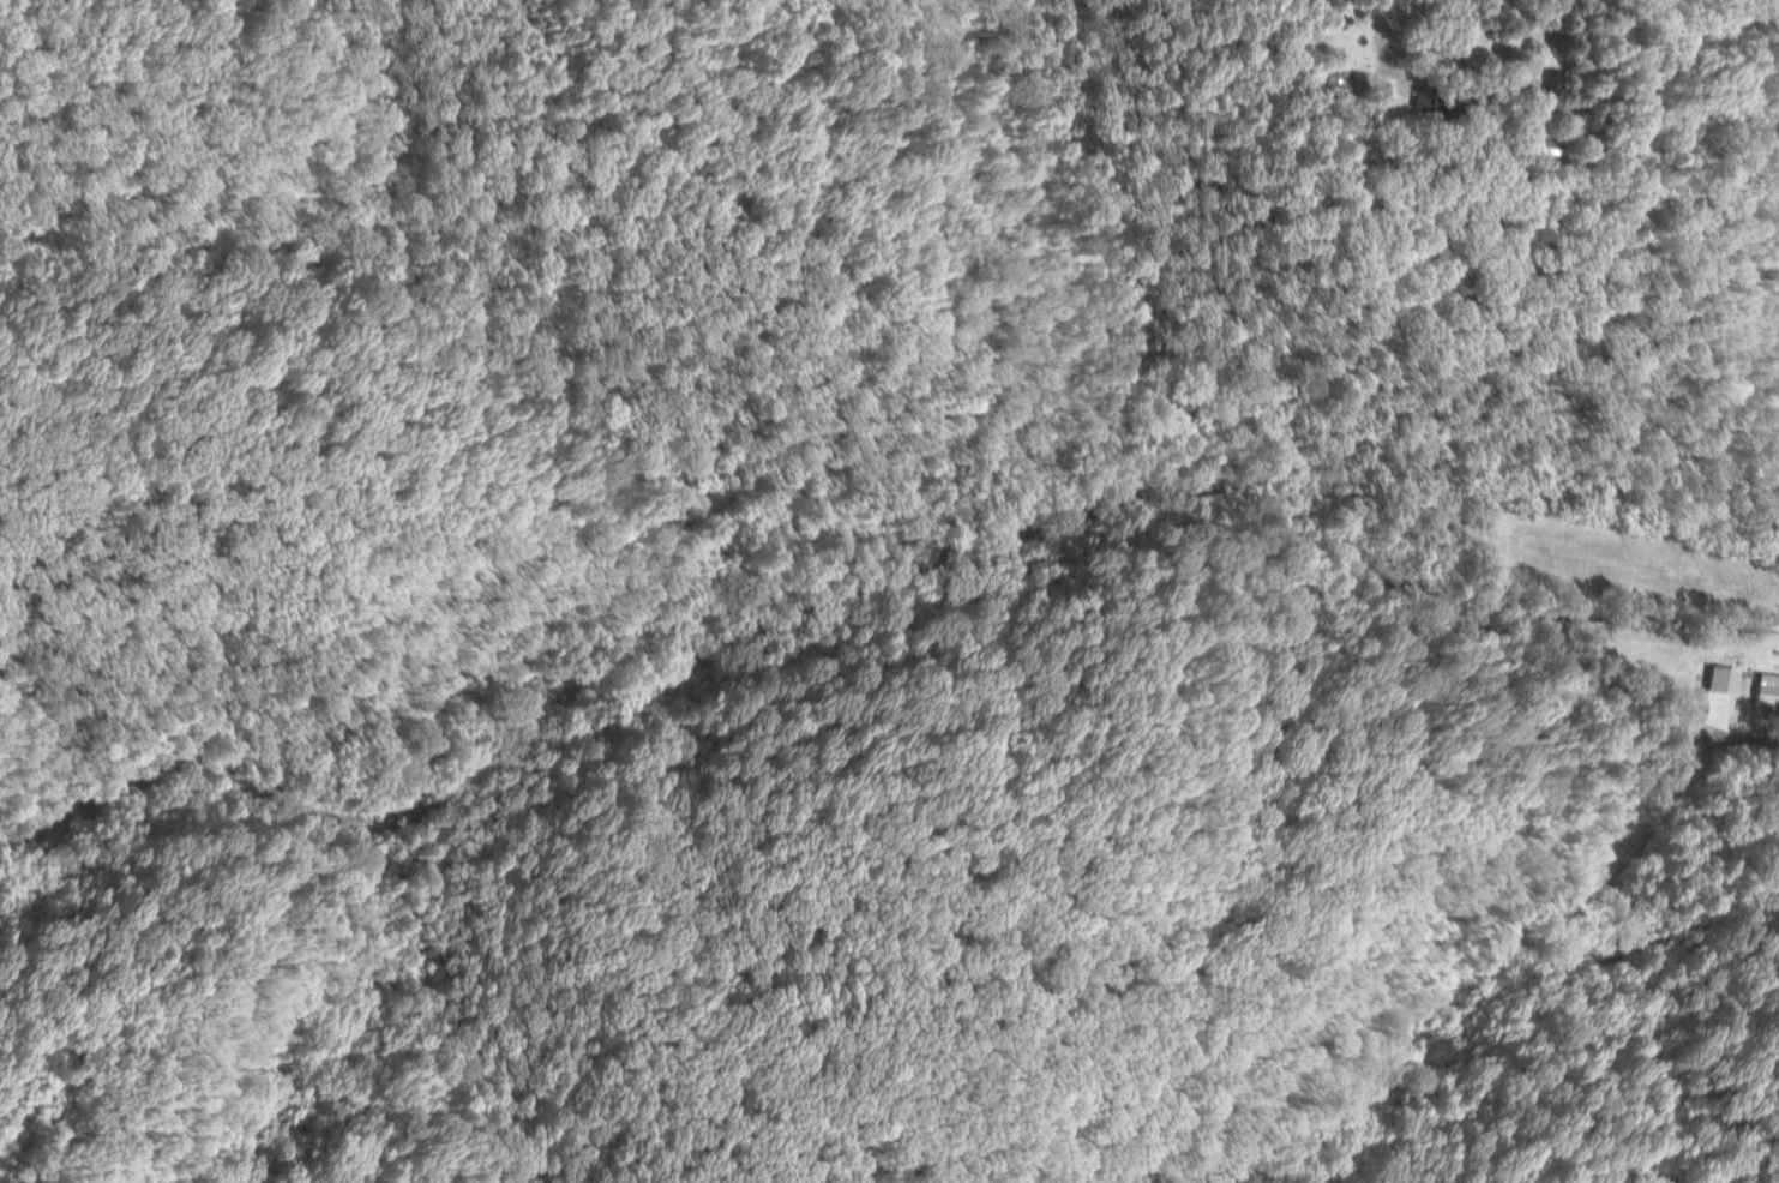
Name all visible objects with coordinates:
road: (1534, 50)
building: (1436, 102)
building: (1537, 146)
road: (939, 562)
building: (1763, 690)
road: (55, 810)

